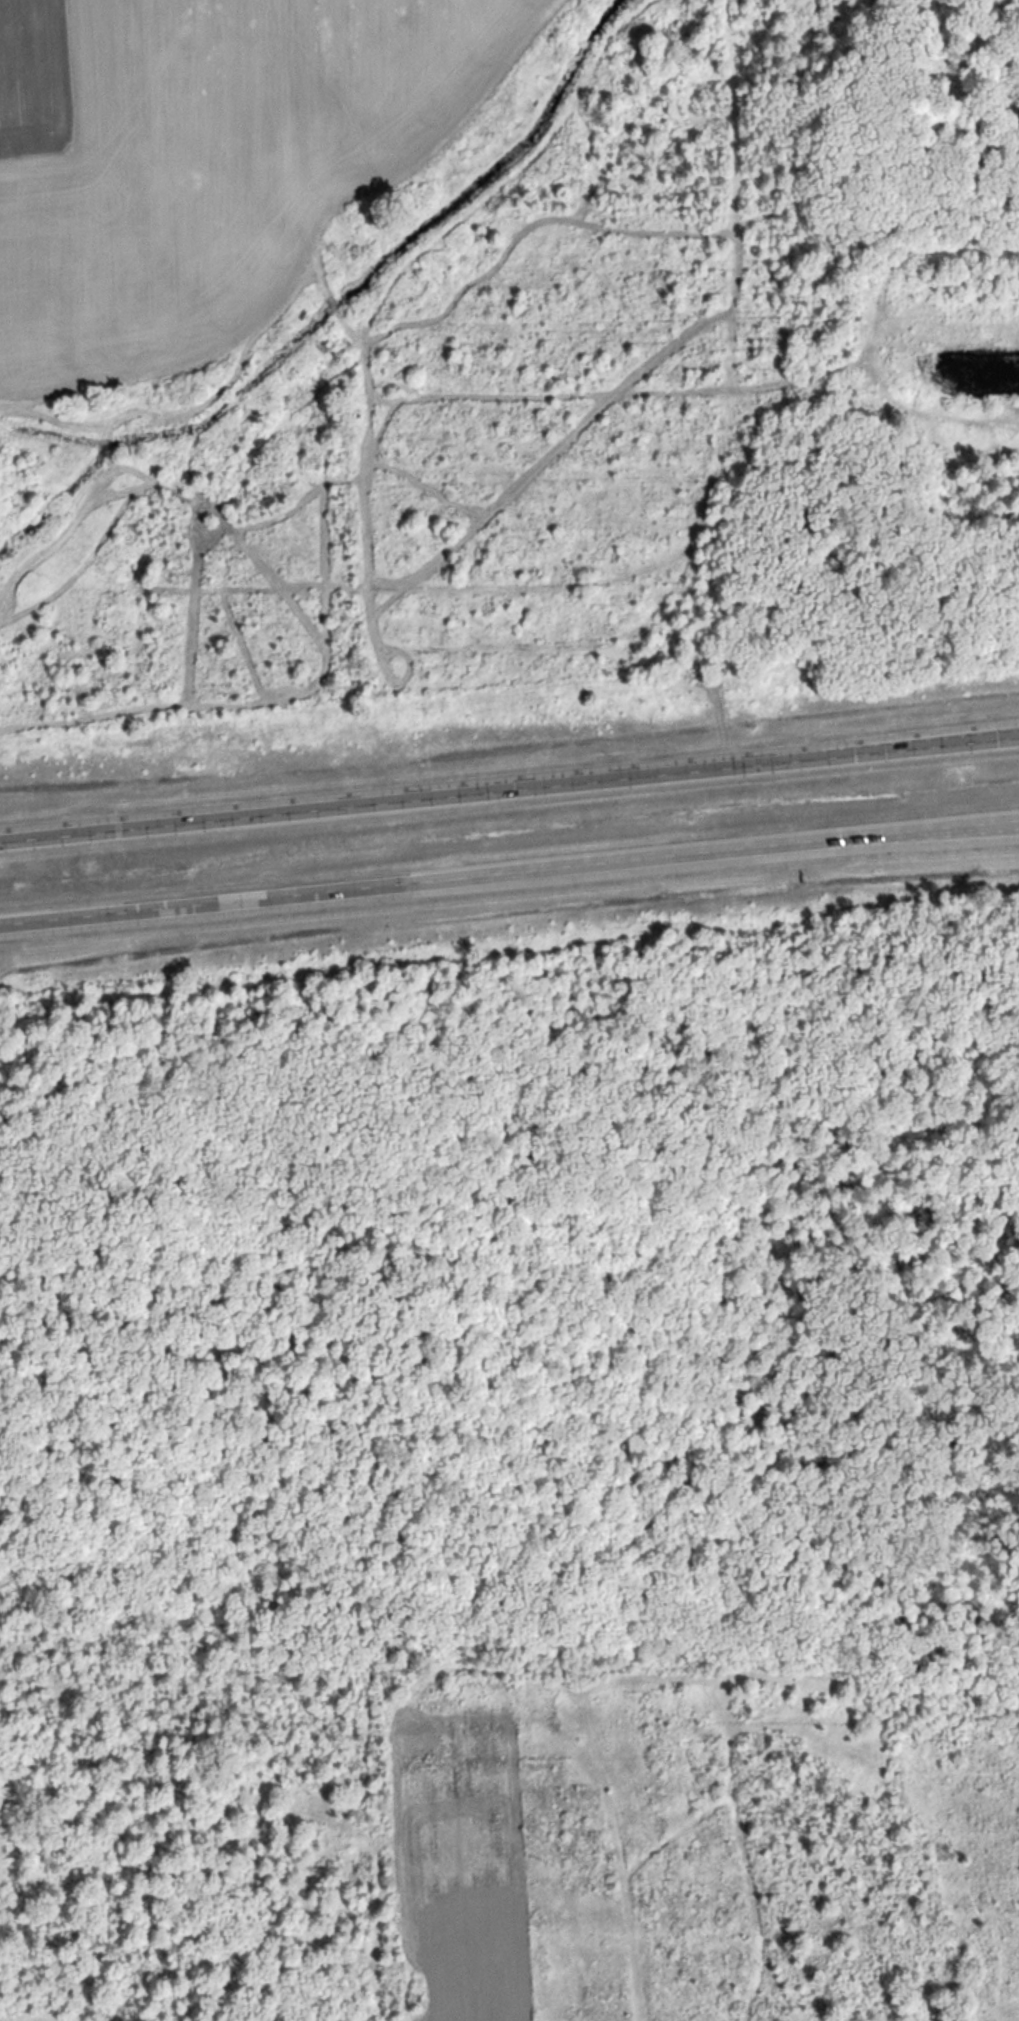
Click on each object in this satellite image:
river: (371, 247)
road: (509, 790)
road: (996, 826)
road: (509, 873)

